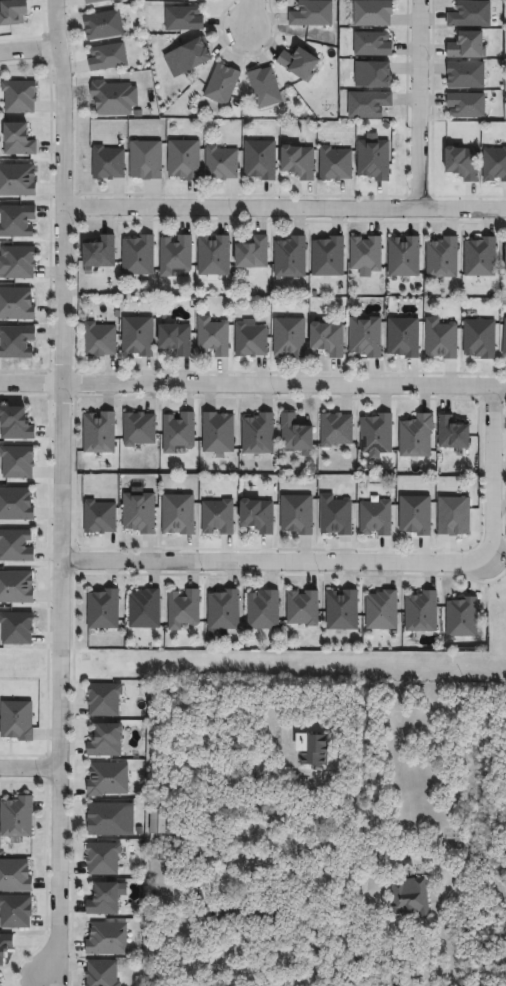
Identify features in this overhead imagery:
building: (93, 1)
building: (12, 12)
building: (372, 13)
road: (250, 14)
building: (312, 14)
building: (470, 15)
building: (182, 19)
building: (102, 25)
building: (372, 44)
building: (467, 46)
road: (29, 52)
building: (190, 55)
building: (107, 57)
building: (298, 64)
building: (372, 75)
building: (465, 75)
building: (221, 85)
building: (264, 88)
building: (18, 96)
building: (111, 99)
building: (368, 104)
road: (419, 105)
building: (466, 106)
building: (16, 140)
building: (373, 158)
building: (145, 160)
building: (183, 160)
building: (259, 160)
building: (297, 162)
building: (107, 163)
building: (461, 163)
building: (221, 164)
building: (334, 165)
building: (494, 165)
building: (17, 180)
road: (285, 209)
building: (16, 221)
building: (98, 254)
building: (252, 254)
building: (366, 254)
building: (137, 256)
building: (175, 256)
building: (213, 257)
building: (328, 257)
building: (404, 257)
building: (290, 258)
building: (442, 258)
building: (480, 258)
building: (505, 259)
building: (16, 263)
building: (16, 304)
building: (137, 336)
building: (212, 337)
building: (365, 337)
building: (289, 338)
building: (403, 339)
building: (175, 340)
building: (327, 340)
building: (441, 340)
building: (479, 340)
building: (98, 341)
building: (250, 341)
building: (504, 341)
building: (15, 343)
road: (252, 388)
building: (14, 425)
building: (138, 430)
building: (336, 431)
building: (177, 433)
building: (98, 434)
building: (217, 434)
building: (294, 434)
building: (258, 435)
building: (452, 435)
building: (376, 436)
building: (416, 437)
building: (17, 463)
road: (62, 492)
building: (14, 504)
building: (139, 513)
building: (178, 514)
building: (296, 514)
building: (335, 515)
building: (416, 515)
building: (256, 516)
building: (454, 516)
building: (99, 517)
building: (217, 517)
building: (375, 518)
building: (15, 545)
road: (357, 566)
building: (15, 587)
building: (302, 607)
building: (183, 608)
building: (102, 609)
building: (144, 609)
building: (223, 609)
building: (263, 609)
building: (341, 609)
building: (381, 610)
building: (421, 611)
building: (462, 617)
building: (15, 628)
building: (103, 699)
building: (16, 720)
building: (104, 740)
building: (319, 746)
road: (29, 768)
building: (106, 779)
building: (16, 817)
building: (106, 819)
building: (166, 830)
building: (102, 858)
building: (14, 876)
road: (342, 882)
building: (410, 896)
building: (102, 899)
building: (15, 912)
building: (255, 912)
road: (253, 936)
road: (383, 936)
building: (106, 939)
building: (4, 945)
building: (101, 973)
building: (0, 985)

